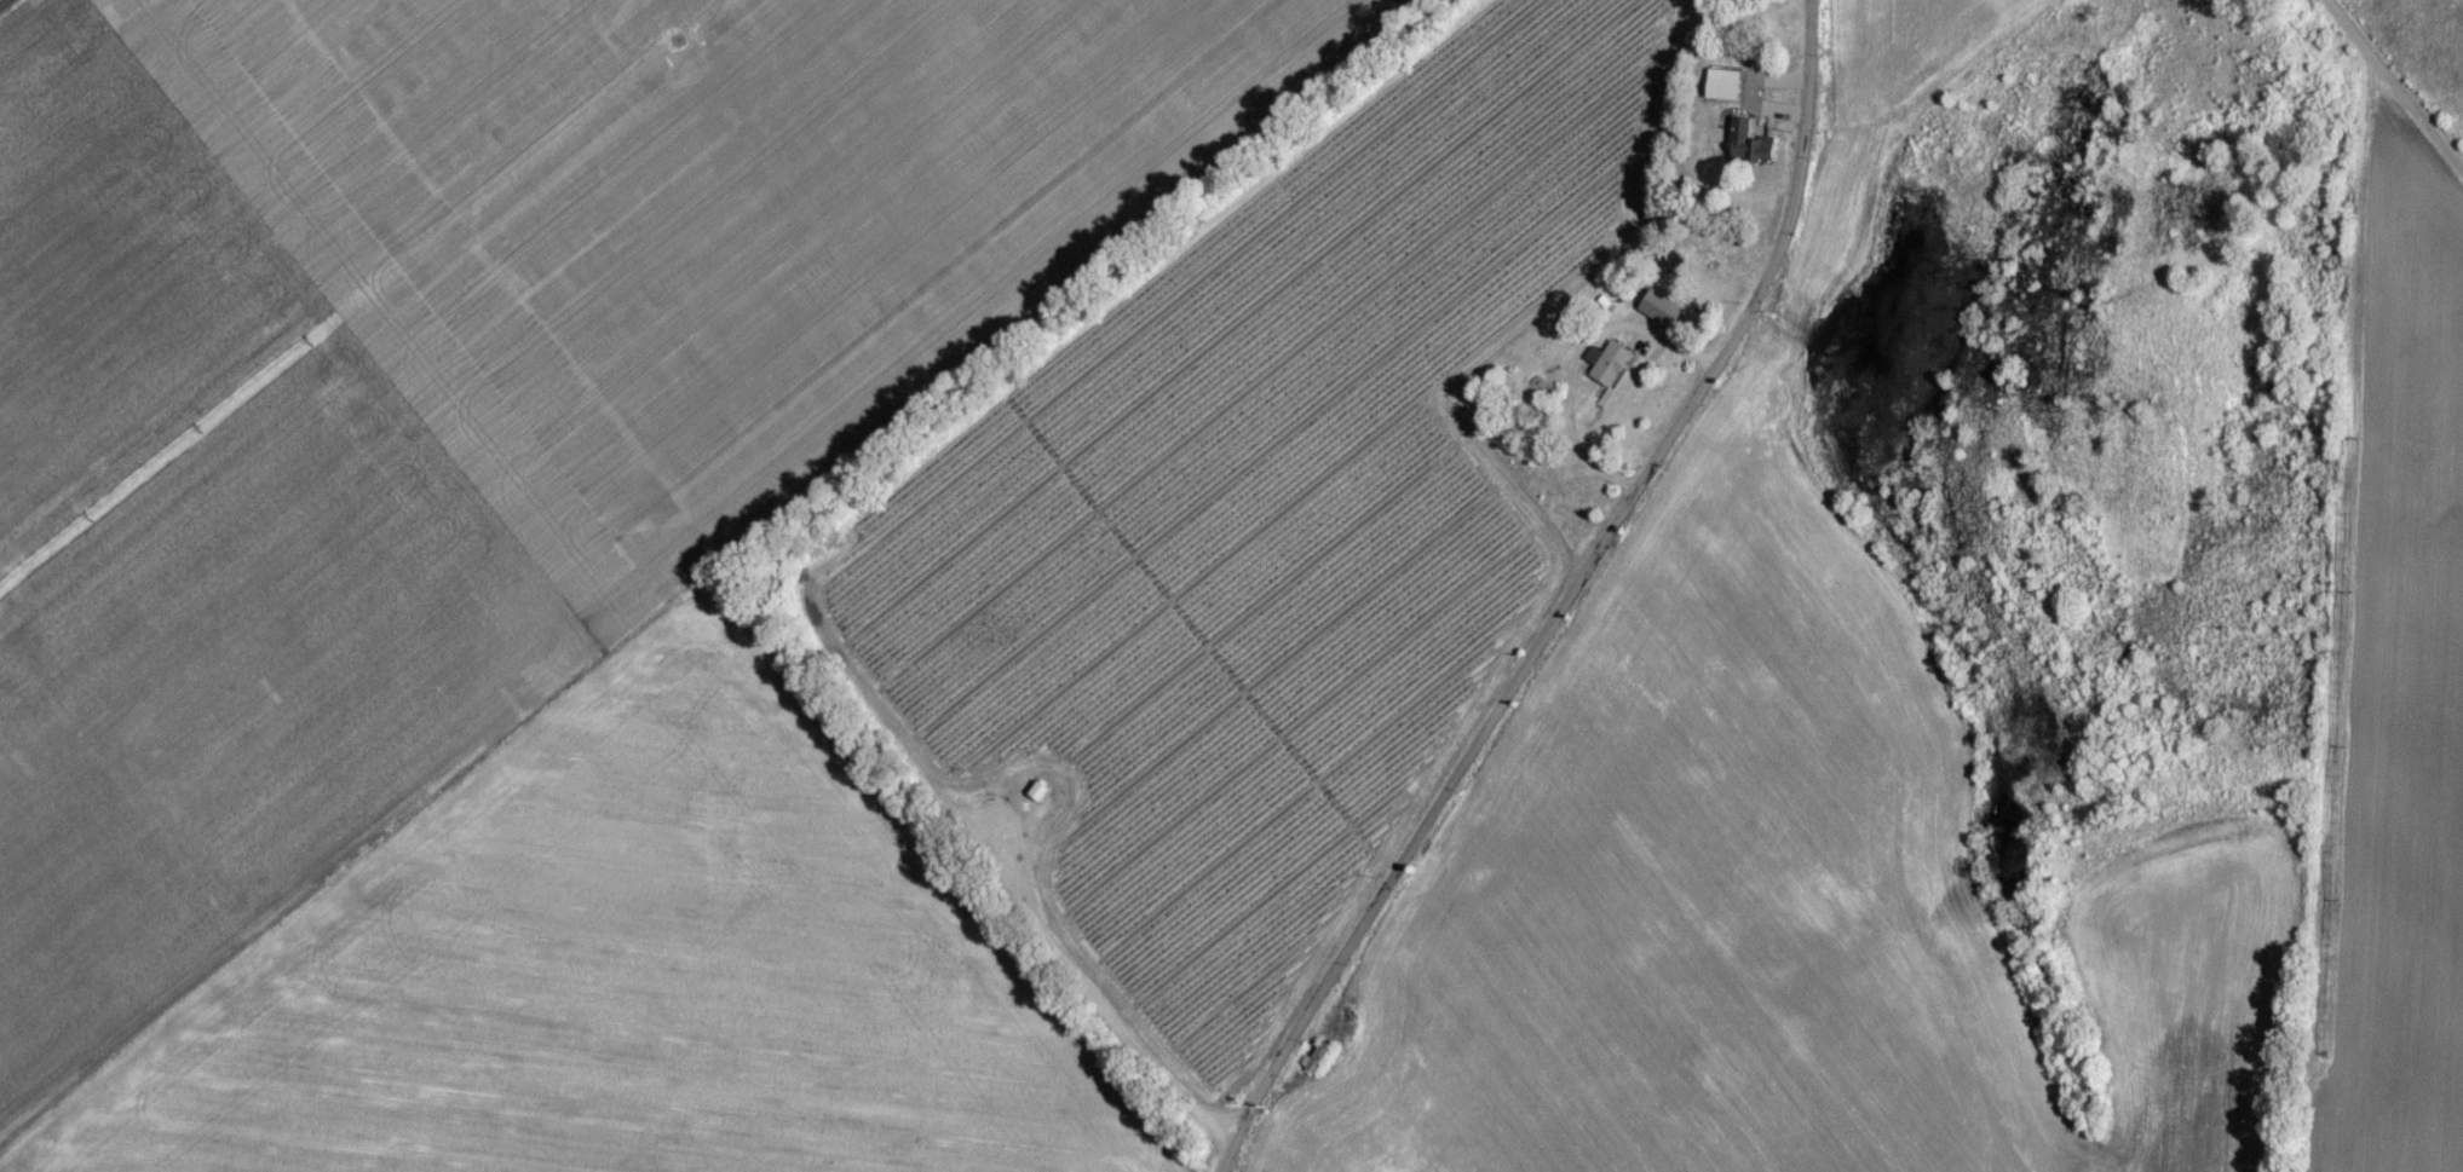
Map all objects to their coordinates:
road: (22, 18)
road: (2395, 83)
building: (1725, 93)
building: (1753, 155)
road: (1577, 360)
building: (1611, 371)
road: (1560, 607)
building: (1320, 1067)

